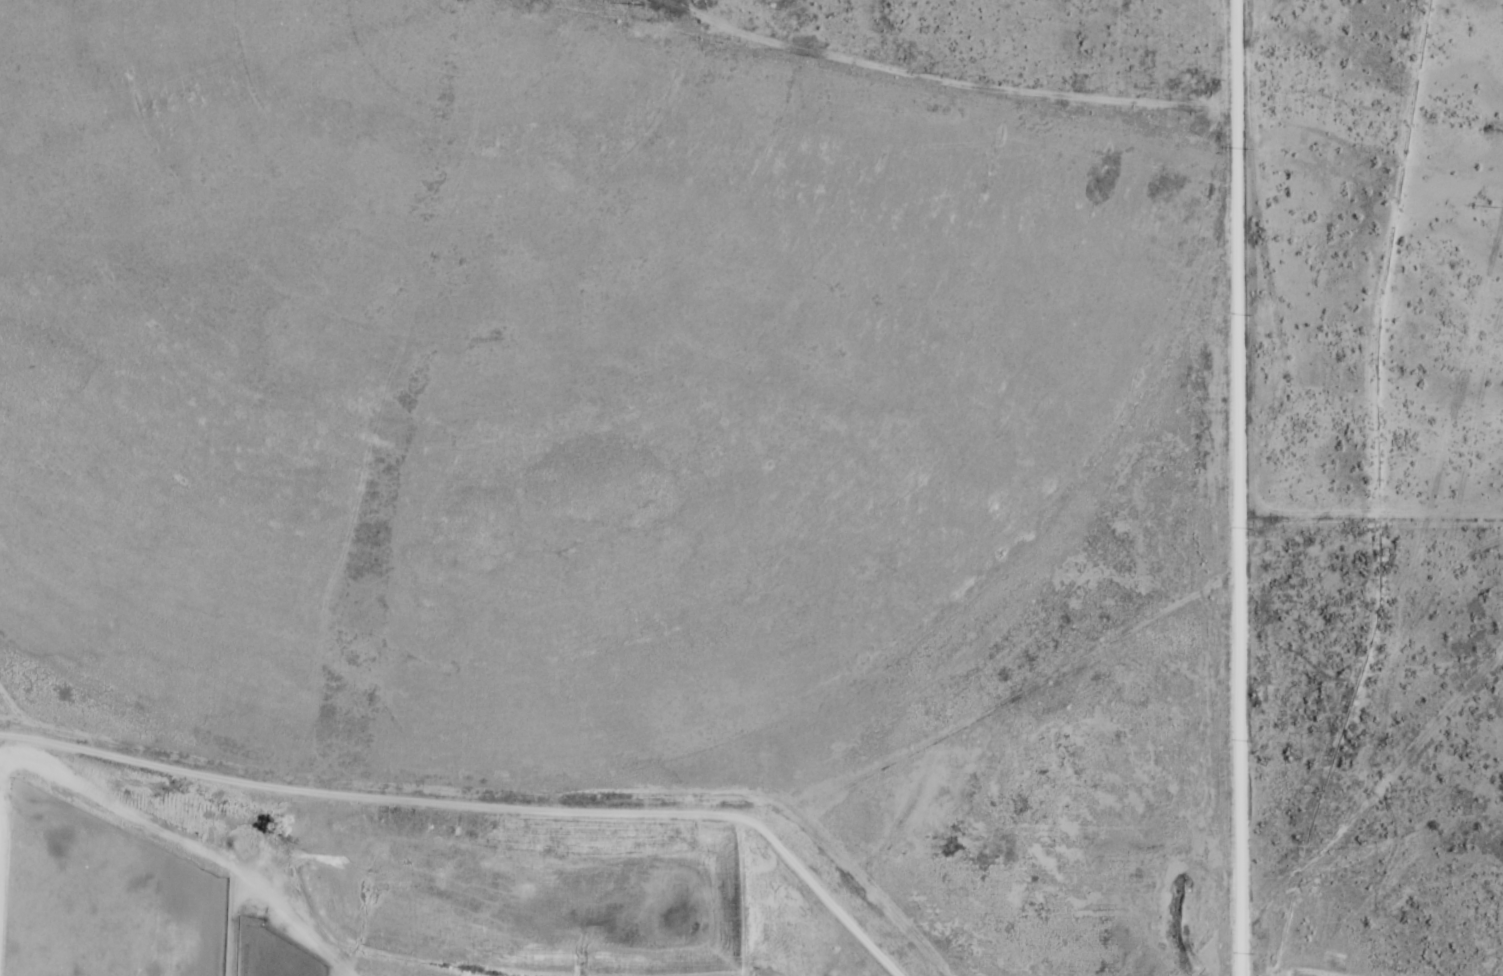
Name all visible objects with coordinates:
road: (1241, 488)

